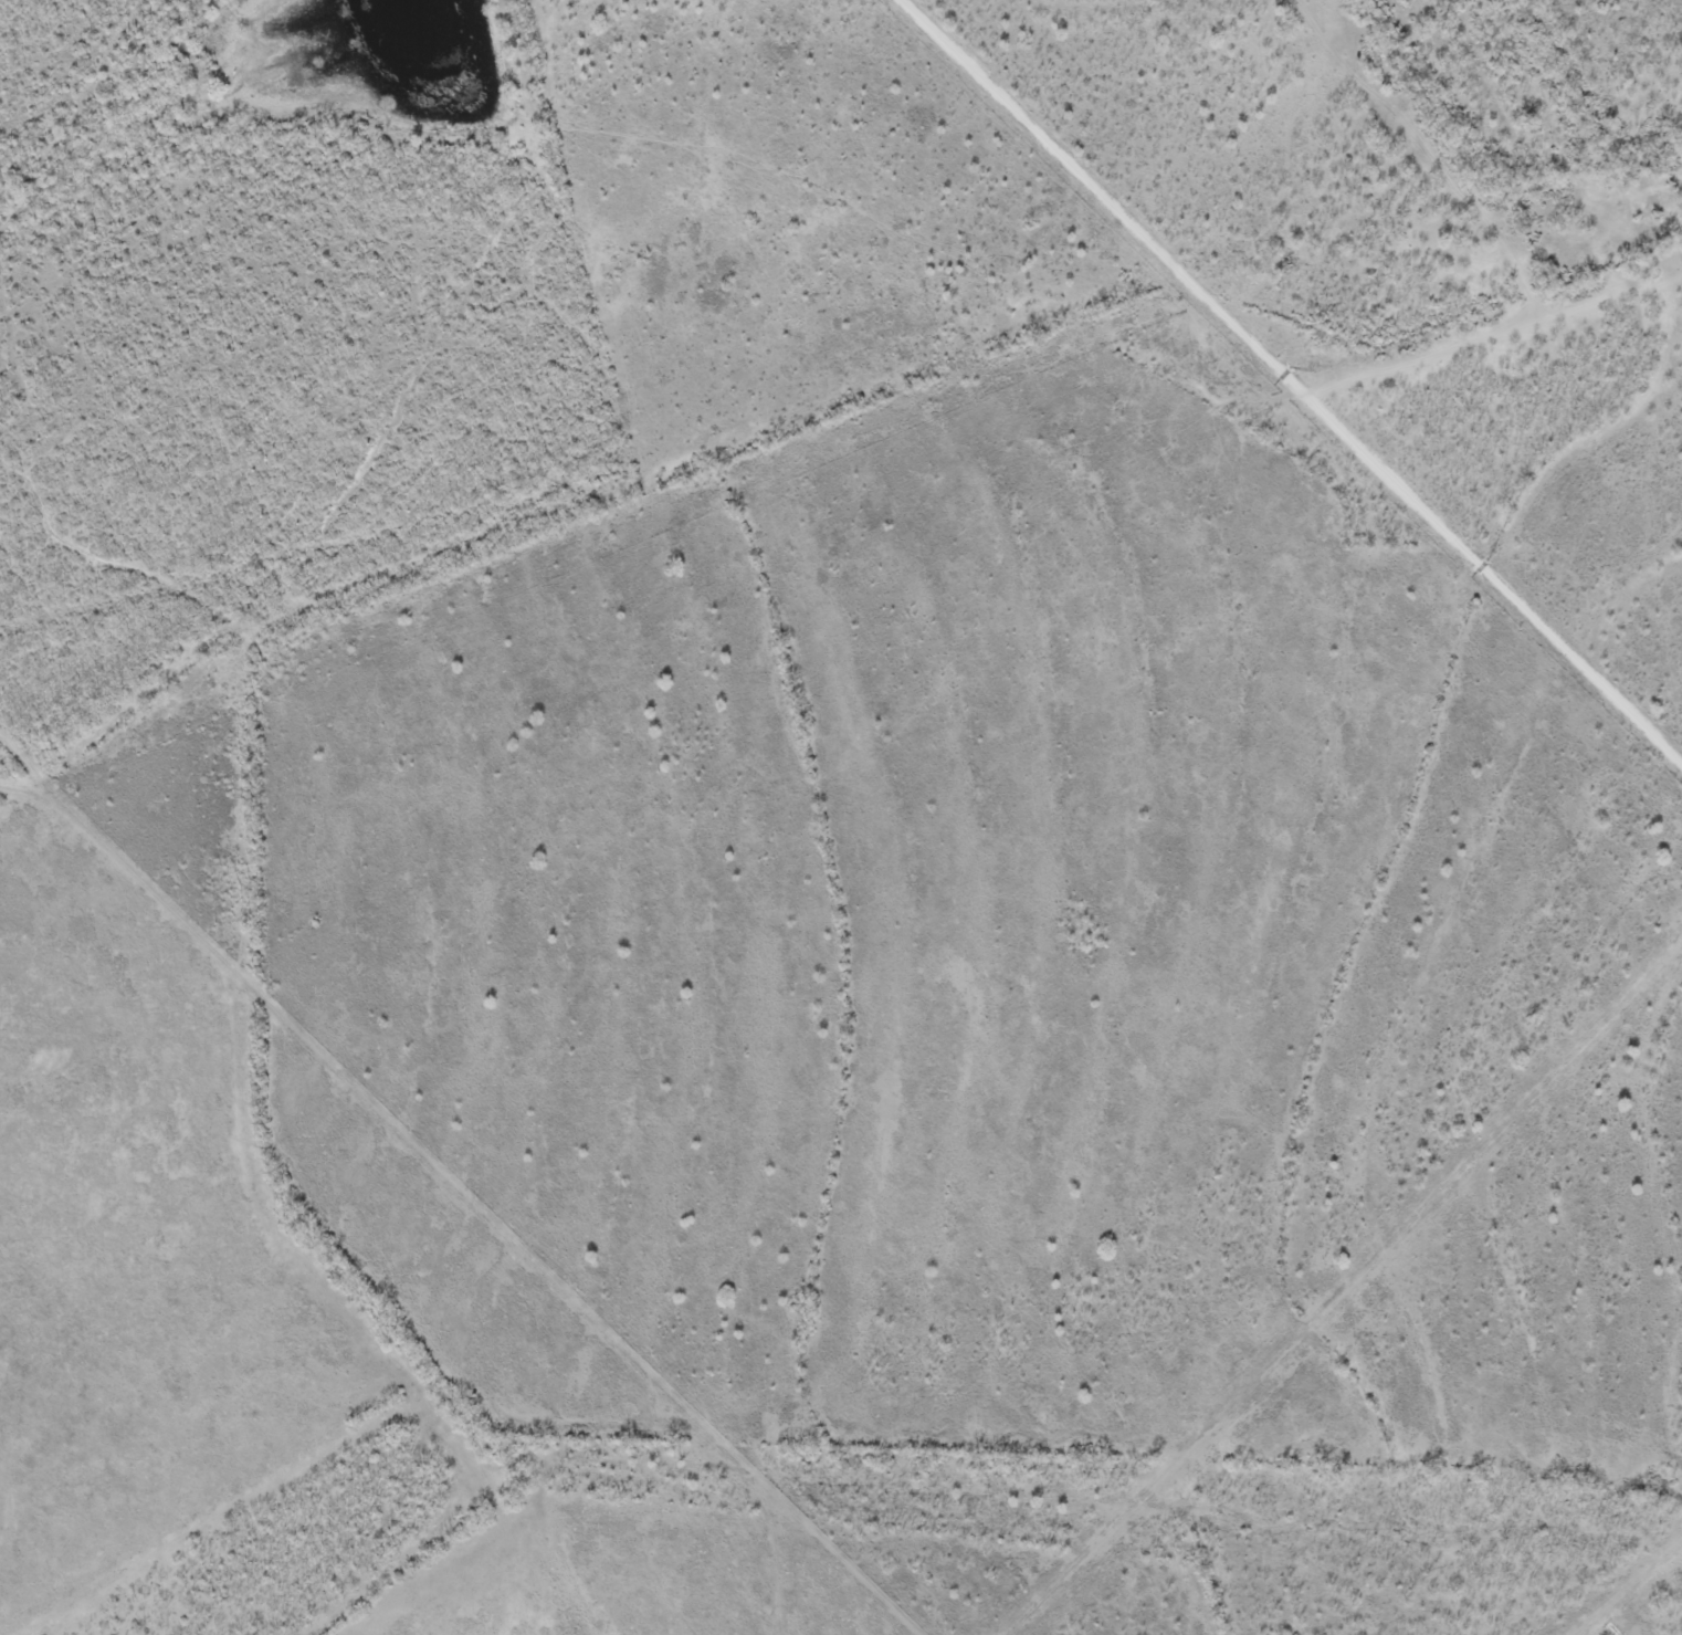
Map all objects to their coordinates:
road: (1385, 1070)

